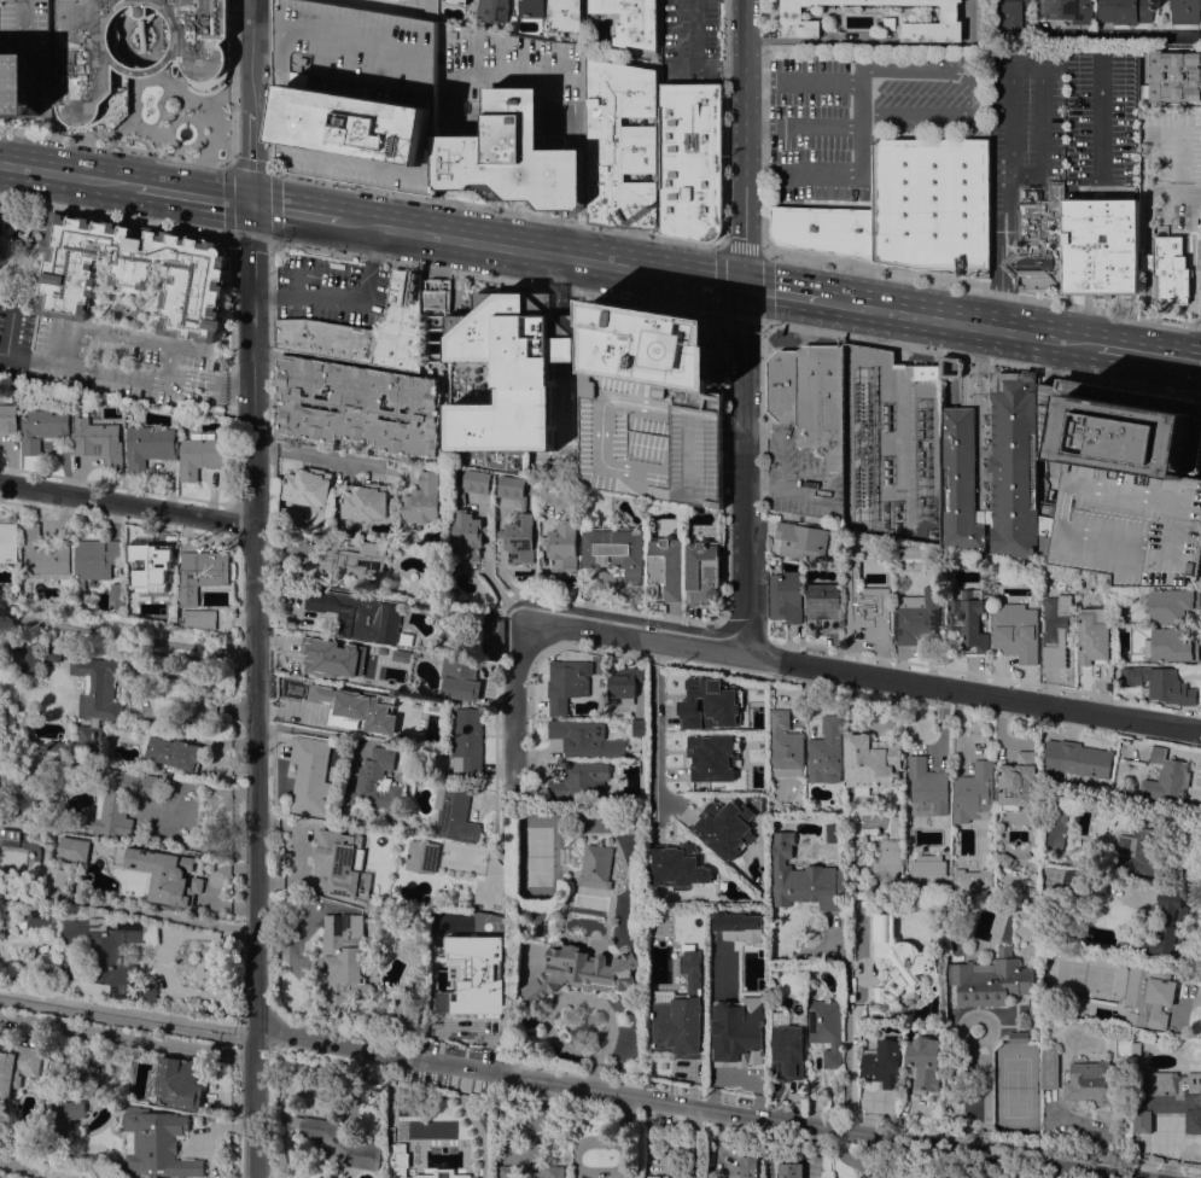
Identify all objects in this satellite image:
building: (460, 1)
building: (428, 7)
building: (494, 10)
building: (1065, 10)
building: (1124, 11)
building: (1185, 11)
building: (554, 13)
building: (1009, 14)
road: (136, 16)
road: (141, 16)
building: (799, 19)
building: (632, 21)
building: (890, 23)
road: (262, 31)
road: (1130, 33)
road: (159, 34)
road: (123, 35)
road: (811, 39)
building: (27, 57)
road: (252, 57)
building: (91, 64)
building: (148, 68)
building: (1174, 75)
road: (800, 80)
road: (232, 82)
road: (975, 91)
building: (355, 94)
road: (191, 97)
road: (134, 100)
road: (270, 101)
building: (170, 103)
building: (509, 115)
road: (1007, 118)
road: (724, 122)
road: (1102, 124)
road: (824, 126)
fountain: (183, 132)
road: (115, 144)
building: (620, 144)
road: (763, 145)
road: (252, 158)
building: (689, 159)
road: (228, 164)
road: (823, 170)
road: (69, 174)
road: (1020, 177)
road: (1177, 191)
road: (194, 194)
traffic signals: (252, 204)
road: (496, 208)
building: (908, 209)
road: (296, 211)
road: (115, 215)
road: (1144, 220)
building: (1039, 241)
building: (1100, 243)
road: (1101, 245)
road: (507, 246)
building: (2, 257)
road: (1144, 261)
building: (1166, 266)
road: (993, 267)
building: (134, 272)
road: (497, 279)
road: (709, 280)
traffic signals: (744, 286)
road: (981, 288)
road: (782, 291)
road: (345, 301)
road: (231, 305)
road: (1143, 310)
road: (723, 316)
road: (1100, 320)
road: (958, 321)
building: (435, 326)
road: (744, 326)
building: (366, 331)
road: (8, 336)
road: (119, 340)
road: (270, 344)
building: (653, 344)
helipad: (675, 348)
road: (1120, 349)
road: (1171, 356)
road: (983, 358)
building: (512, 368)
building: (952, 368)
building: (926, 372)
road: (124, 374)
road: (209, 374)
road: (164, 379)
road: (208, 384)
road: (208, 396)
building: (810, 396)
road: (899, 402)
building: (360, 404)
road: (763, 404)
building: (8, 418)
building: (43, 426)
building: (649, 437)
parking garage: (649, 437)
building: (100, 442)
building: (148, 445)
power substation: (891, 445)
building: (200, 454)
road: (316, 454)
road: (775, 456)
building: (512, 463)
building: (1015, 465)
road: (723, 472)
building: (960, 479)
building: (477, 482)
building: (1123, 482)
building: (308, 486)
building: (555, 494)
building: (424, 500)
building: (366, 502)
road: (127, 503)
building: (518, 523)
building: (470, 532)
building: (801, 540)
building: (8, 542)
building: (564, 546)
building: (617, 549)
building: (45, 555)
building: (95, 558)
building: (351, 562)
building: (665, 568)
building: (702, 571)
building: (202, 573)
building: (156, 581)
building: (116, 591)
building: (786, 596)
building: (121, 603)
building: (1171, 603)
building: (823, 607)
building: (112, 610)
building: (867, 611)
building: (358, 614)
building: (200, 617)
building: (916, 617)
building: (967, 618)
building: (1056, 630)
building: (1015, 631)
road: (127, 635)
building: (1094, 636)
building: (1171, 646)
building: (51, 653)
building: (29, 659)
building: (360, 664)
road: (864, 673)
building: (459, 678)
building: (567, 682)
building: (624, 682)
building: (1159, 683)
road: (256, 690)
building: (95, 699)
road: (514, 704)
building: (707, 704)
building: (374, 713)
road: (655, 722)
building: (639, 728)
building: (585, 737)
building: (467, 742)
building: (786, 745)
building: (56, 746)
building: (826, 751)
building: (175, 752)
building: (711, 757)
building: (1077, 758)
building: (870, 759)
building: (310, 776)
building: (1166, 777)
building: (581, 780)
building: (375, 781)
building: (1018, 781)
building: (927, 787)
building: (974, 792)
building: (118, 800)
building: (1159, 812)
building: (454, 813)
building: (1172, 818)
building: (896, 826)
building: (722, 827)
building: (1055, 828)
building: (832, 833)
building: (10, 836)
road: (512, 841)
building: (72, 848)
building: (1139, 850)
building: (422, 852)
building: (340, 863)
building: (596, 865)
building: (675, 865)
building: (928, 865)
building: (162, 873)
building: (57, 876)
building: (803, 877)
building: (970, 880)
road: (128, 910)
building: (34, 920)
building: (1165, 923)
building: (737, 925)
building: (98, 958)
building: (897, 960)
building: (482, 962)
building: (343, 963)
building: (579, 968)
building: (689, 969)
building: (989, 980)
building: (1149, 993)
building: (897, 1009)
building: (406, 1014)
building: (676, 1024)
building: (827, 1028)
building: (736, 1031)
road: (128, 1037)
building: (1019, 1037)
building: (1159, 1039)
building: (1136, 1049)
building: (787, 1052)
building: (882, 1062)
building: (923, 1063)
building: (17, 1066)
building: (1049, 1067)
road: (852, 1069)
building: (1098, 1081)
building: (176, 1083)
road: (986, 1091)
building: (1167, 1098)
road: (686, 1106)
building: (64, 1118)
building: (336, 1141)
building: (157, 1143)
road: (766, 1148)
building: (398, 1159)
road: (914, 1160)
building: (748, 1167)
road: (46, 1170)
building: (791, 1170)
building: (507, 1171)
building: (554, 1172)
building: (628, 1174)
road: (1073, 1174)
building: (874, 1176)
road: (1088, 1176)
building: (470, 1177)
building: (657, 1177)

